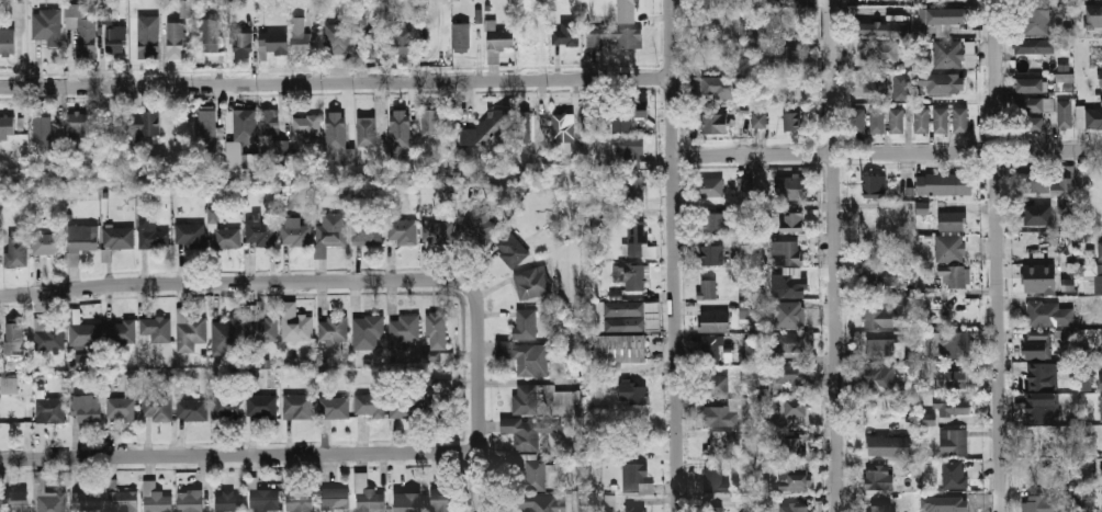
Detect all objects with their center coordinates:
building: (1100, 1)
building: (184, 9)
building: (627, 11)
building: (943, 16)
building: (1094, 16)
building: (1036, 18)
building: (81, 25)
building: (47, 26)
building: (895, 29)
building: (566, 33)
building: (211, 35)
building: (301, 36)
building: (176, 37)
building: (463, 37)
building: (499, 37)
building: (616, 37)
building: (115, 38)
building: (148, 38)
building: (338, 38)
building: (402, 41)
building: (8, 42)
building: (273, 43)
building: (374, 43)
building: (243, 44)
building: (1033, 46)
building: (744, 49)
building: (879, 50)
building: (941, 54)
building: (1099, 55)
building: (787, 58)
building: (1028, 66)
building: (1101, 77)
building: (1064, 81)
road: (336, 82)
building: (880, 82)
building: (956, 83)
building: (1028, 84)
building: (724, 87)
building: (901, 87)
building: (1028, 104)
building: (628, 112)
building: (1065, 115)
building: (1090, 118)
building: (760, 120)
building: (878, 120)
building: (897, 120)
building: (922, 120)
building: (942, 120)
building: (962, 120)
building: (792, 121)
building: (858, 121)
building: (269, 122)
building: (145, 123)
building: (403, 123)
building: (430, 123)
building: (715, 123)
building: (243, 124)
building: (592, 124)
building: (1034, 124)
building: (78, 125)
building: (206, 125)
building: (525, 126)
building: (306, 127)
building: (564, 127)
building: (7, 128)
building: (485, 129)
building: (43, 132)
building: (367, 133)
building: (338, 140)
building: (282, 147)
building: (630, 149)
road: (888, 153)
building: (234, 155)
building: (250, 161)
building: (1033, 182)
building: (1066, 182)
building: (743, 184)
building: (947, 184)
building: (873, 185)
building: (712, 186)
building: (790, 187)
building: (634, 190)
building: (922, 207)
building: (1037, 215)
building: (880, 219)
building: (953, 220)
building: (715, 221)
building: (794, 221)
building: (480, 225)
building: (368, 230)
building: (294, 231)
building: (402, 231)
building: (329, 232)
building: (190, 234)
building: (223, 234)
building: (258, 234)
building: (437, 234)
building: (153, 236)
building: (119, 237)
building: (82, 238)
building: (639, 240)
building: (47, 243)
building: (510, 248)
building: (949, 248)
building: (16, 250)
building: (1100, 250)
building: (787, 252)
building: (712, 253)
road: (674, 255)
road: (833, 255)
road: (996, 255)
building: (629, 274)
building: (882, 275)
building: (954, 275)
building: (1101, 278)
road: (237, 283)
building: (532, 283)
building: (1041, 283)
building: (1068, 284)
building: (788, 287)
building: (708, 288)
building: (746, 308)
building: (1049, 314)
building: (789, 315)
building: (629, 316)
building: (878, 319)
building: (716, 322)
building: (295, 323)
building: (260, 327)
building: (157, 328)
building: (333, 329)
building: (189, 331)
building: (403, 331)
building: (436, 331)
building: (120, 332)
building: (368, 333)
building: (85, 334)
building: (47, 335)
building: (225, 337)
building: (14, 338)
building: (1062, 338)
building: (791, 342)
building: (623, 344)
building: (956, 344)
building: (526, 345)
building: (1038, 345)
building: (880, 348)
building: (710, 350)
building: (439, 357)
building: (794, 373)
building: (878, 377)
building: (1045, 377)
building: (952, 378)
building: (167, 379)
building: (1101, 379)
building: (1088, 382)
building: (9, 385)
building: (439, 385)
building: (716, 386)
building: (130, 387)
building: (633, 392)
road: (480, 400)
building: (522, 401)
building: (368, 403)
building: (436, 405)
building: (297, 406)
building: (157, 407)
building: (226, 407)
building: (261, 407)
building: (404, 407)
building: (796, 407)
building: (954, 407)
building: (331, 408)
building: (1042, 408)
building: (1101, 408)
building: (48, 409)
building: (87, 409)
building: (121, 409)
building: (192, 410)
building: (12, 411)
building: (719, 416)
building: (927, 419)
building: (526, 433)
building: (761, 437)
building: (954, 442)
building: (881, 445)
building: (718, 446)
building: (792, 448)
road: (240, 455)
building: (1101, 470)
building: (527, 471)
building: (952, 471)
building: (1088, 474)
building: (637, 478)
building: (713, 478)
building: (877, 478)
building: (791, 480)
building: (368, 496)
building: (407, 496)
building: (1087, 496)
building: (48, 498)
building: (155, 499)
building: (265, 499)
building: (440, 499)
building: (19, 500)
building: (300, 500)
building: (742, 500)
building: (123, 501)
building: (190, 501)
building: (229, 501)
building: (87, 502)
building: (336, 502)
building: (538, 502)
building: (1037, 504)
building: (795, 508)
building: (878, 508)
building: (637, 509)
building: (715, 509)
building: (954, 510)

